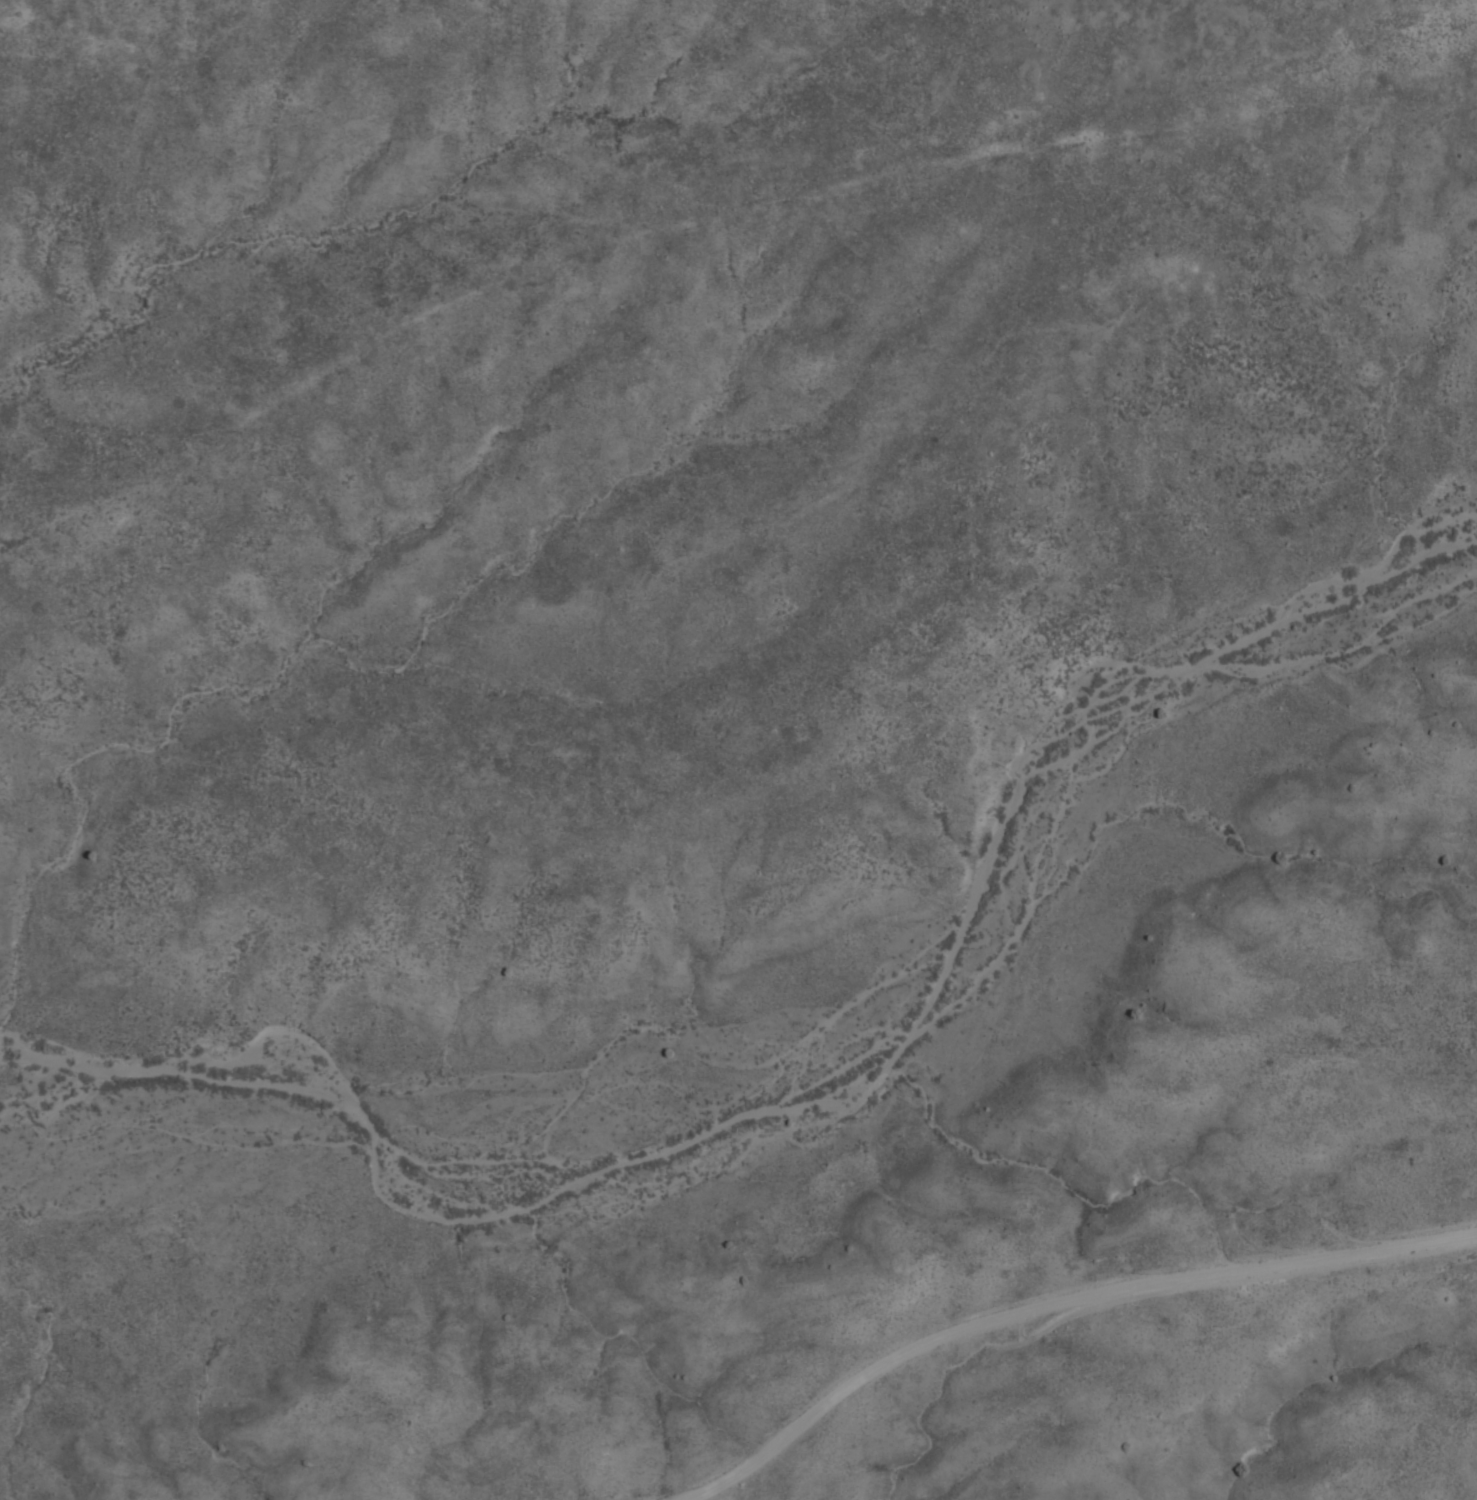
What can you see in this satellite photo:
road: (1052, 1313)

